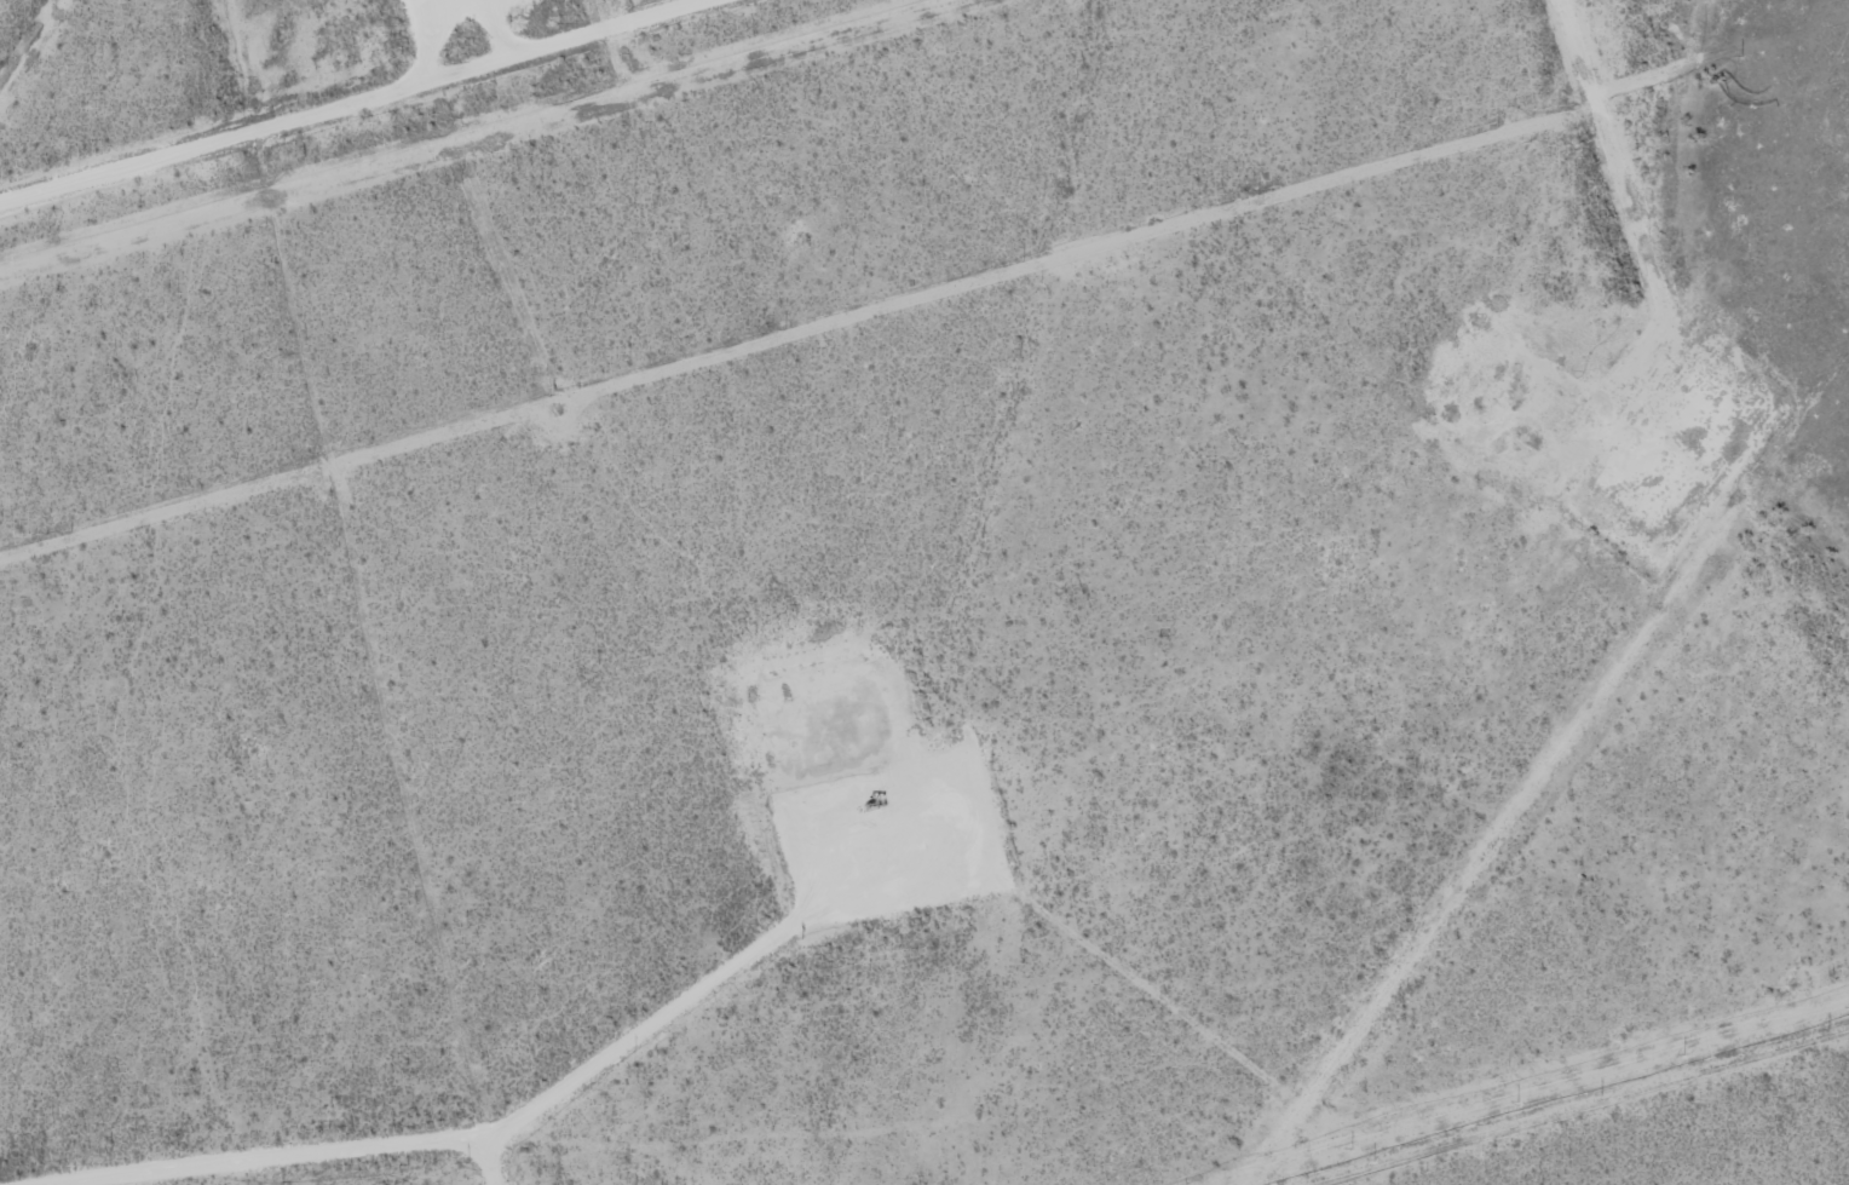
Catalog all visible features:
petroleum well: (877, 816)

